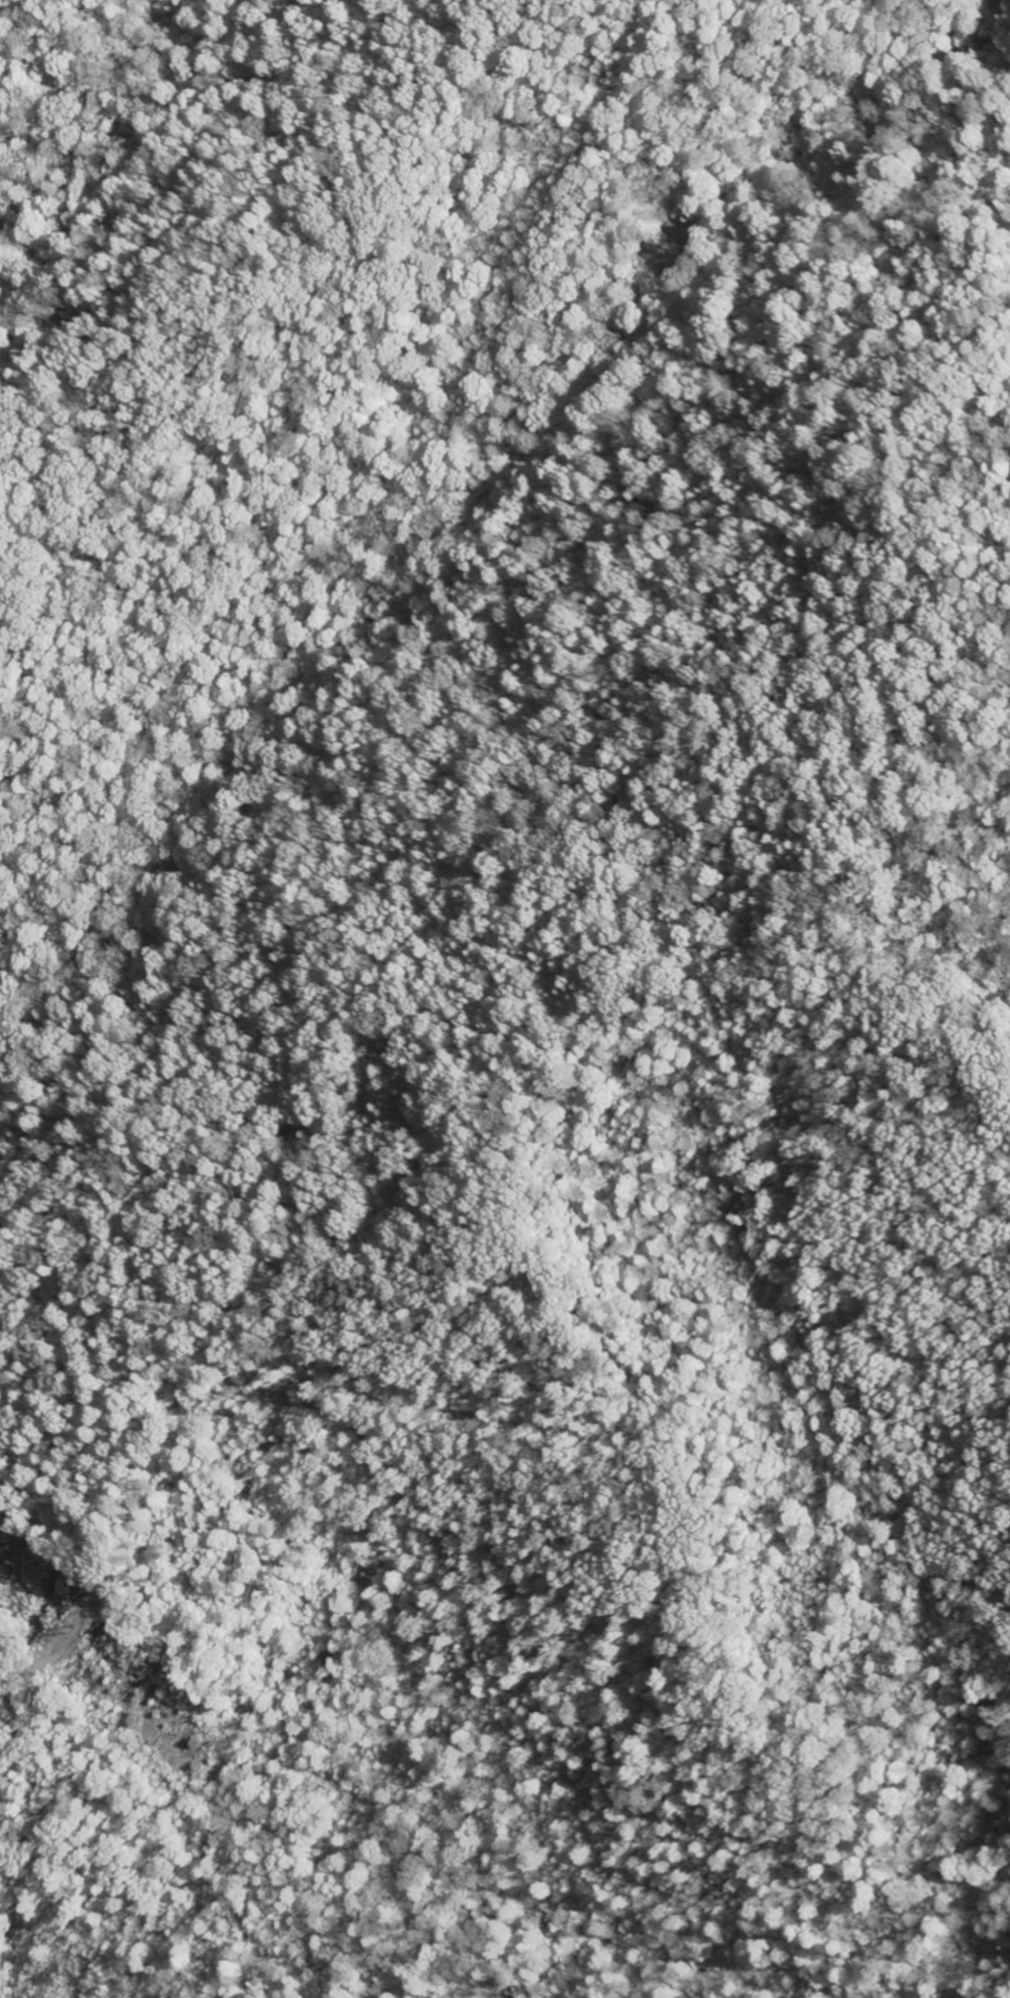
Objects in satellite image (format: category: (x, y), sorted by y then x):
power tower: (67, 1629)

